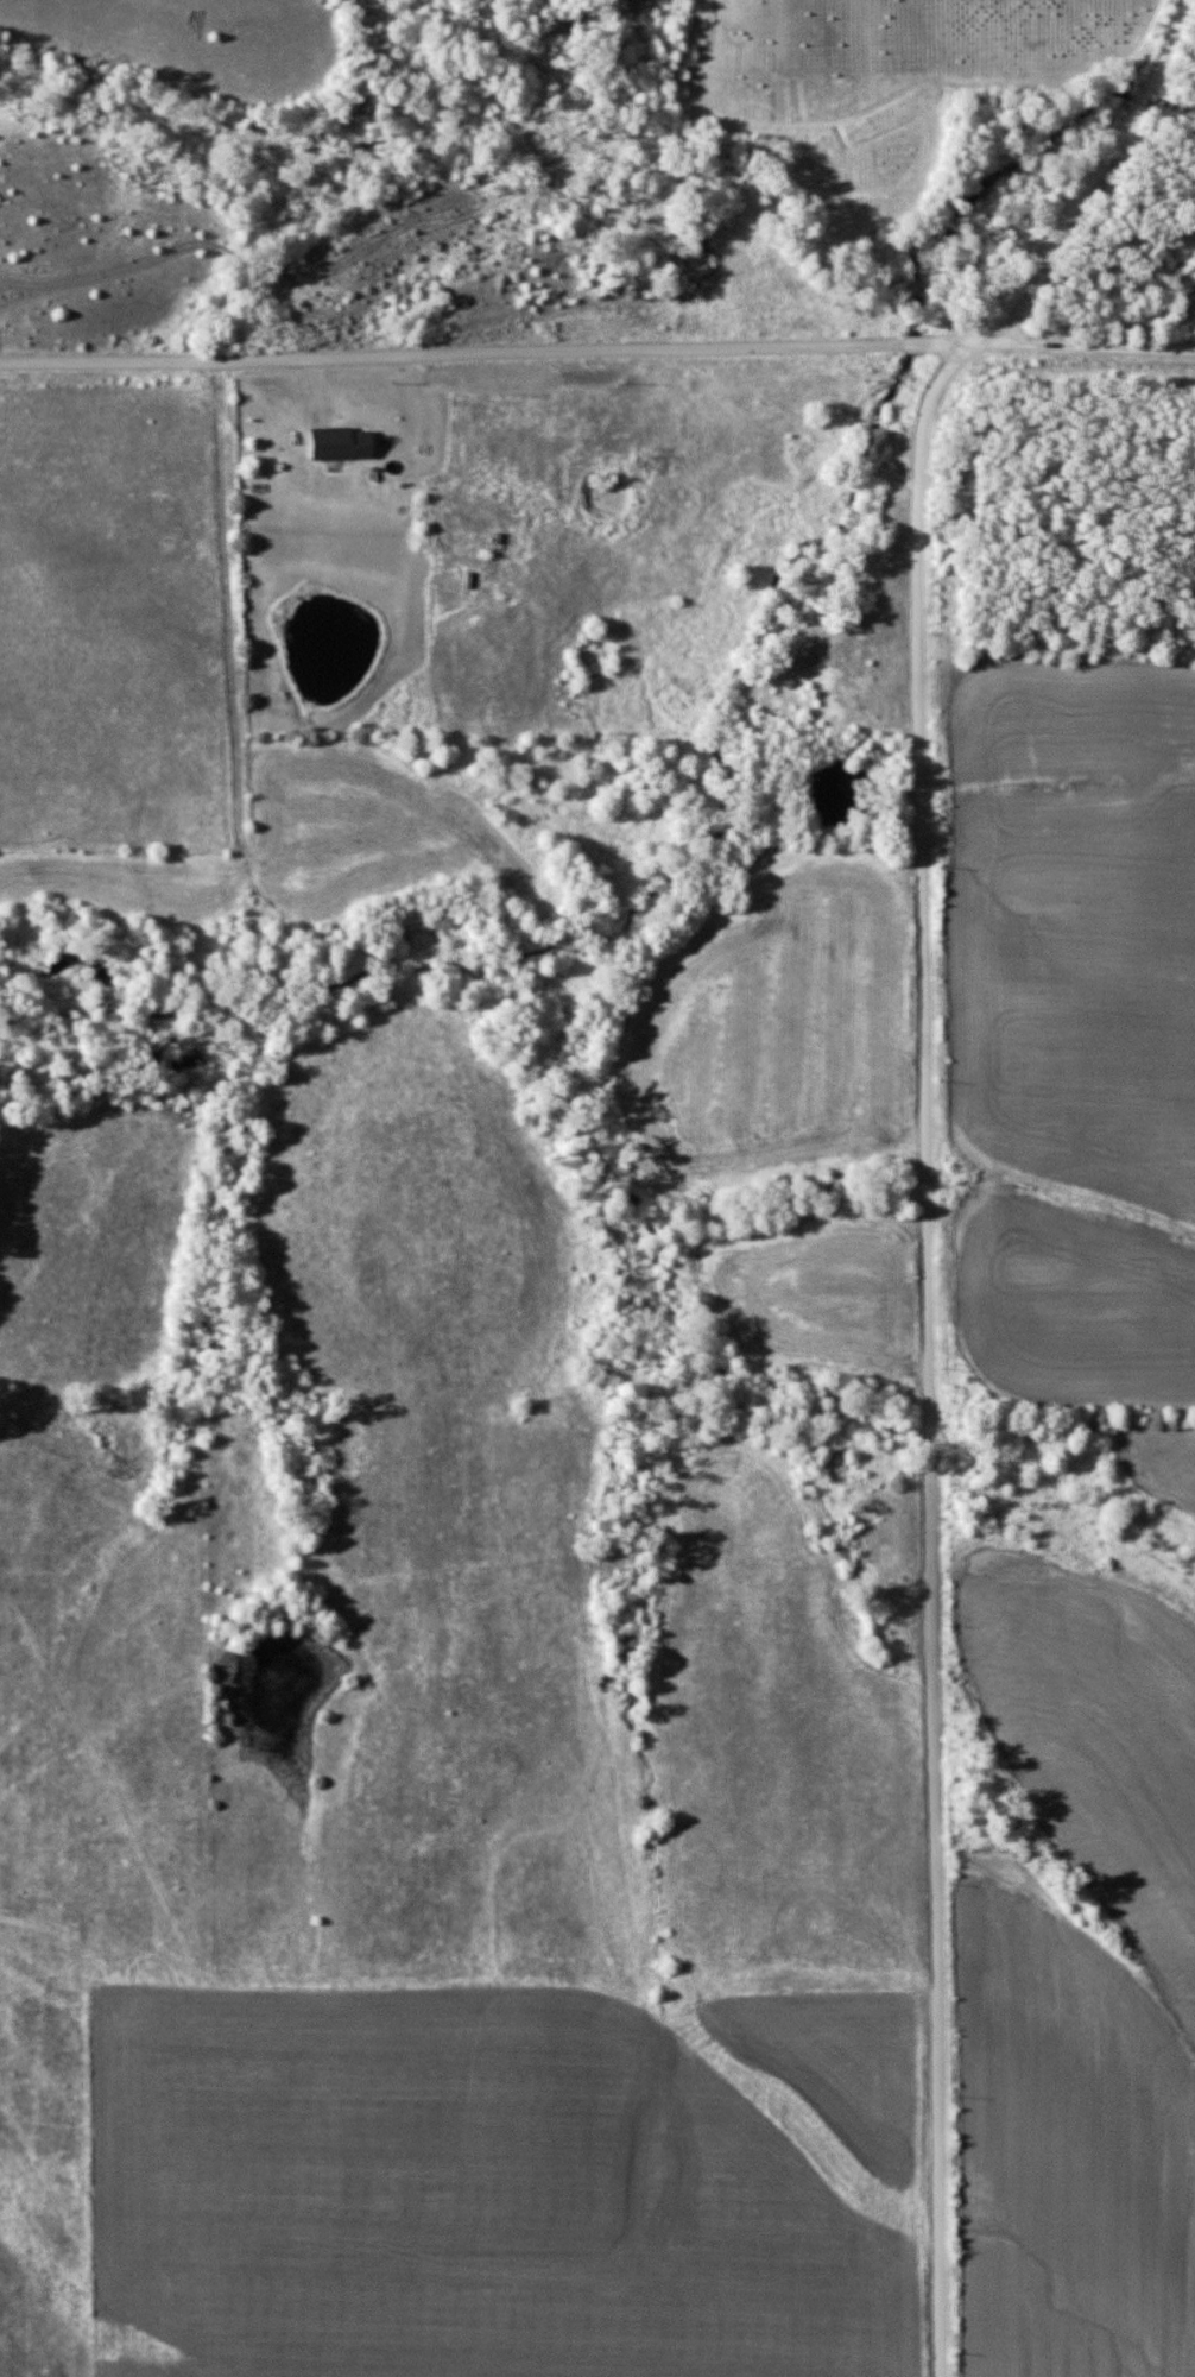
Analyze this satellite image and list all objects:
road: (1085, 348)
road: (488, 352)
building: (340, 444)
road: (925, 1147)

